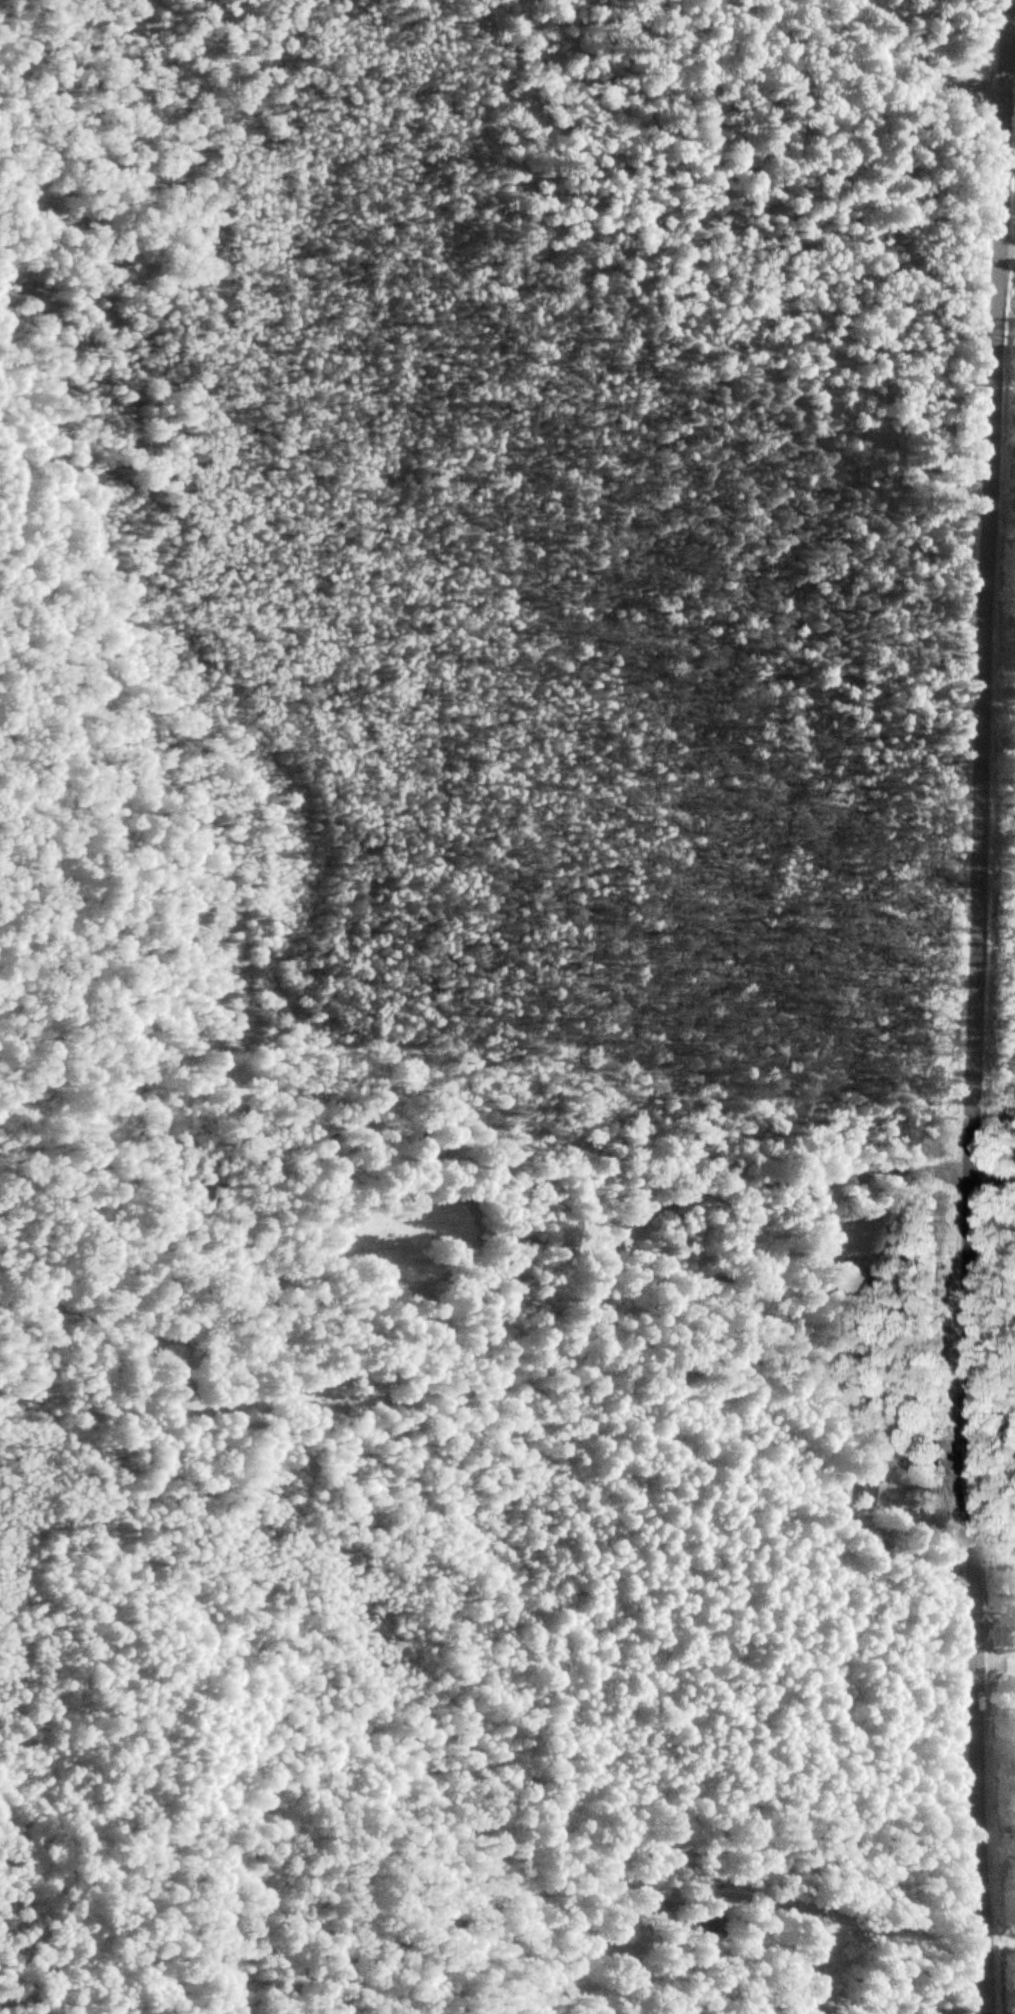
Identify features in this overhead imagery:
road: (1010, 61)
road: (1007, 252)
road: (975, 1006)
road: (880, 1170)
road: (992, 1178)
building: (871, 1491)
road: (996, 1609)
building: (611, 1860)

